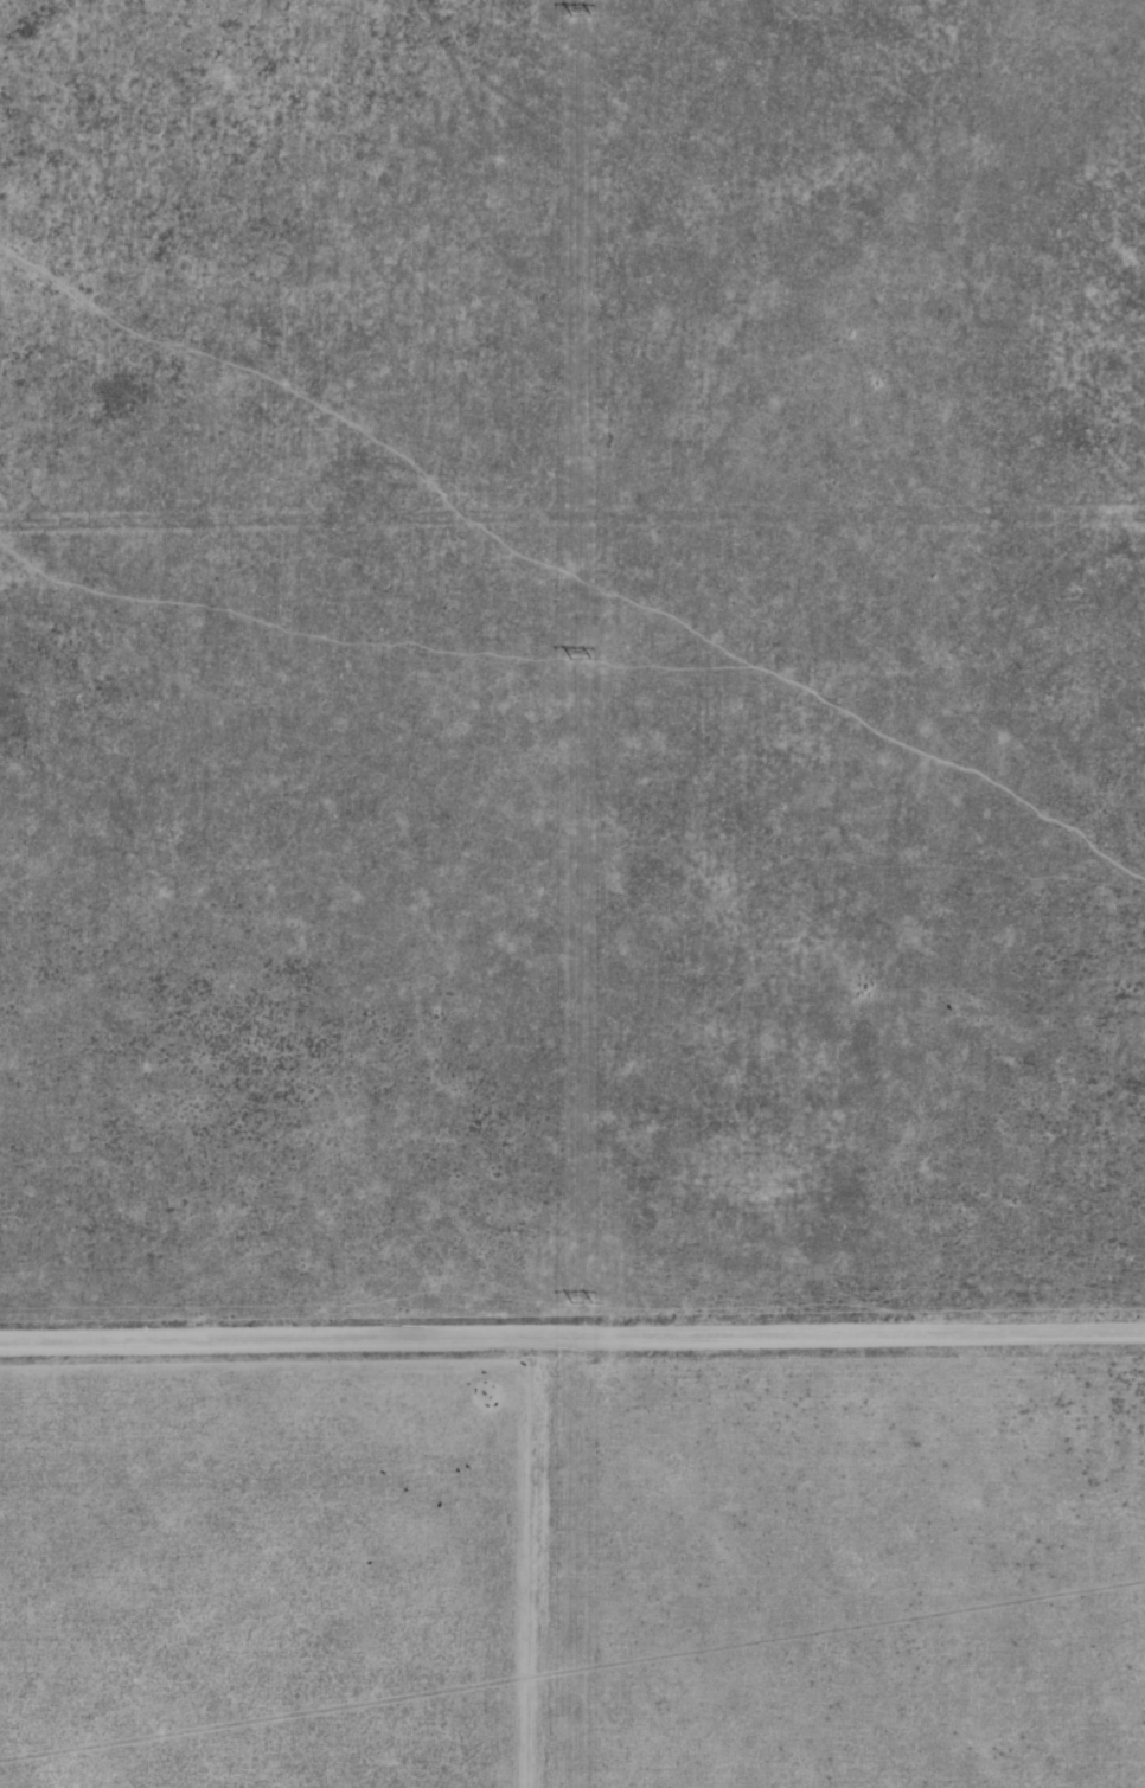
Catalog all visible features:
power tower: (578, 12)
power tower: (581, 658)
power tower: (580, 1302)
road: (572, 1342)

